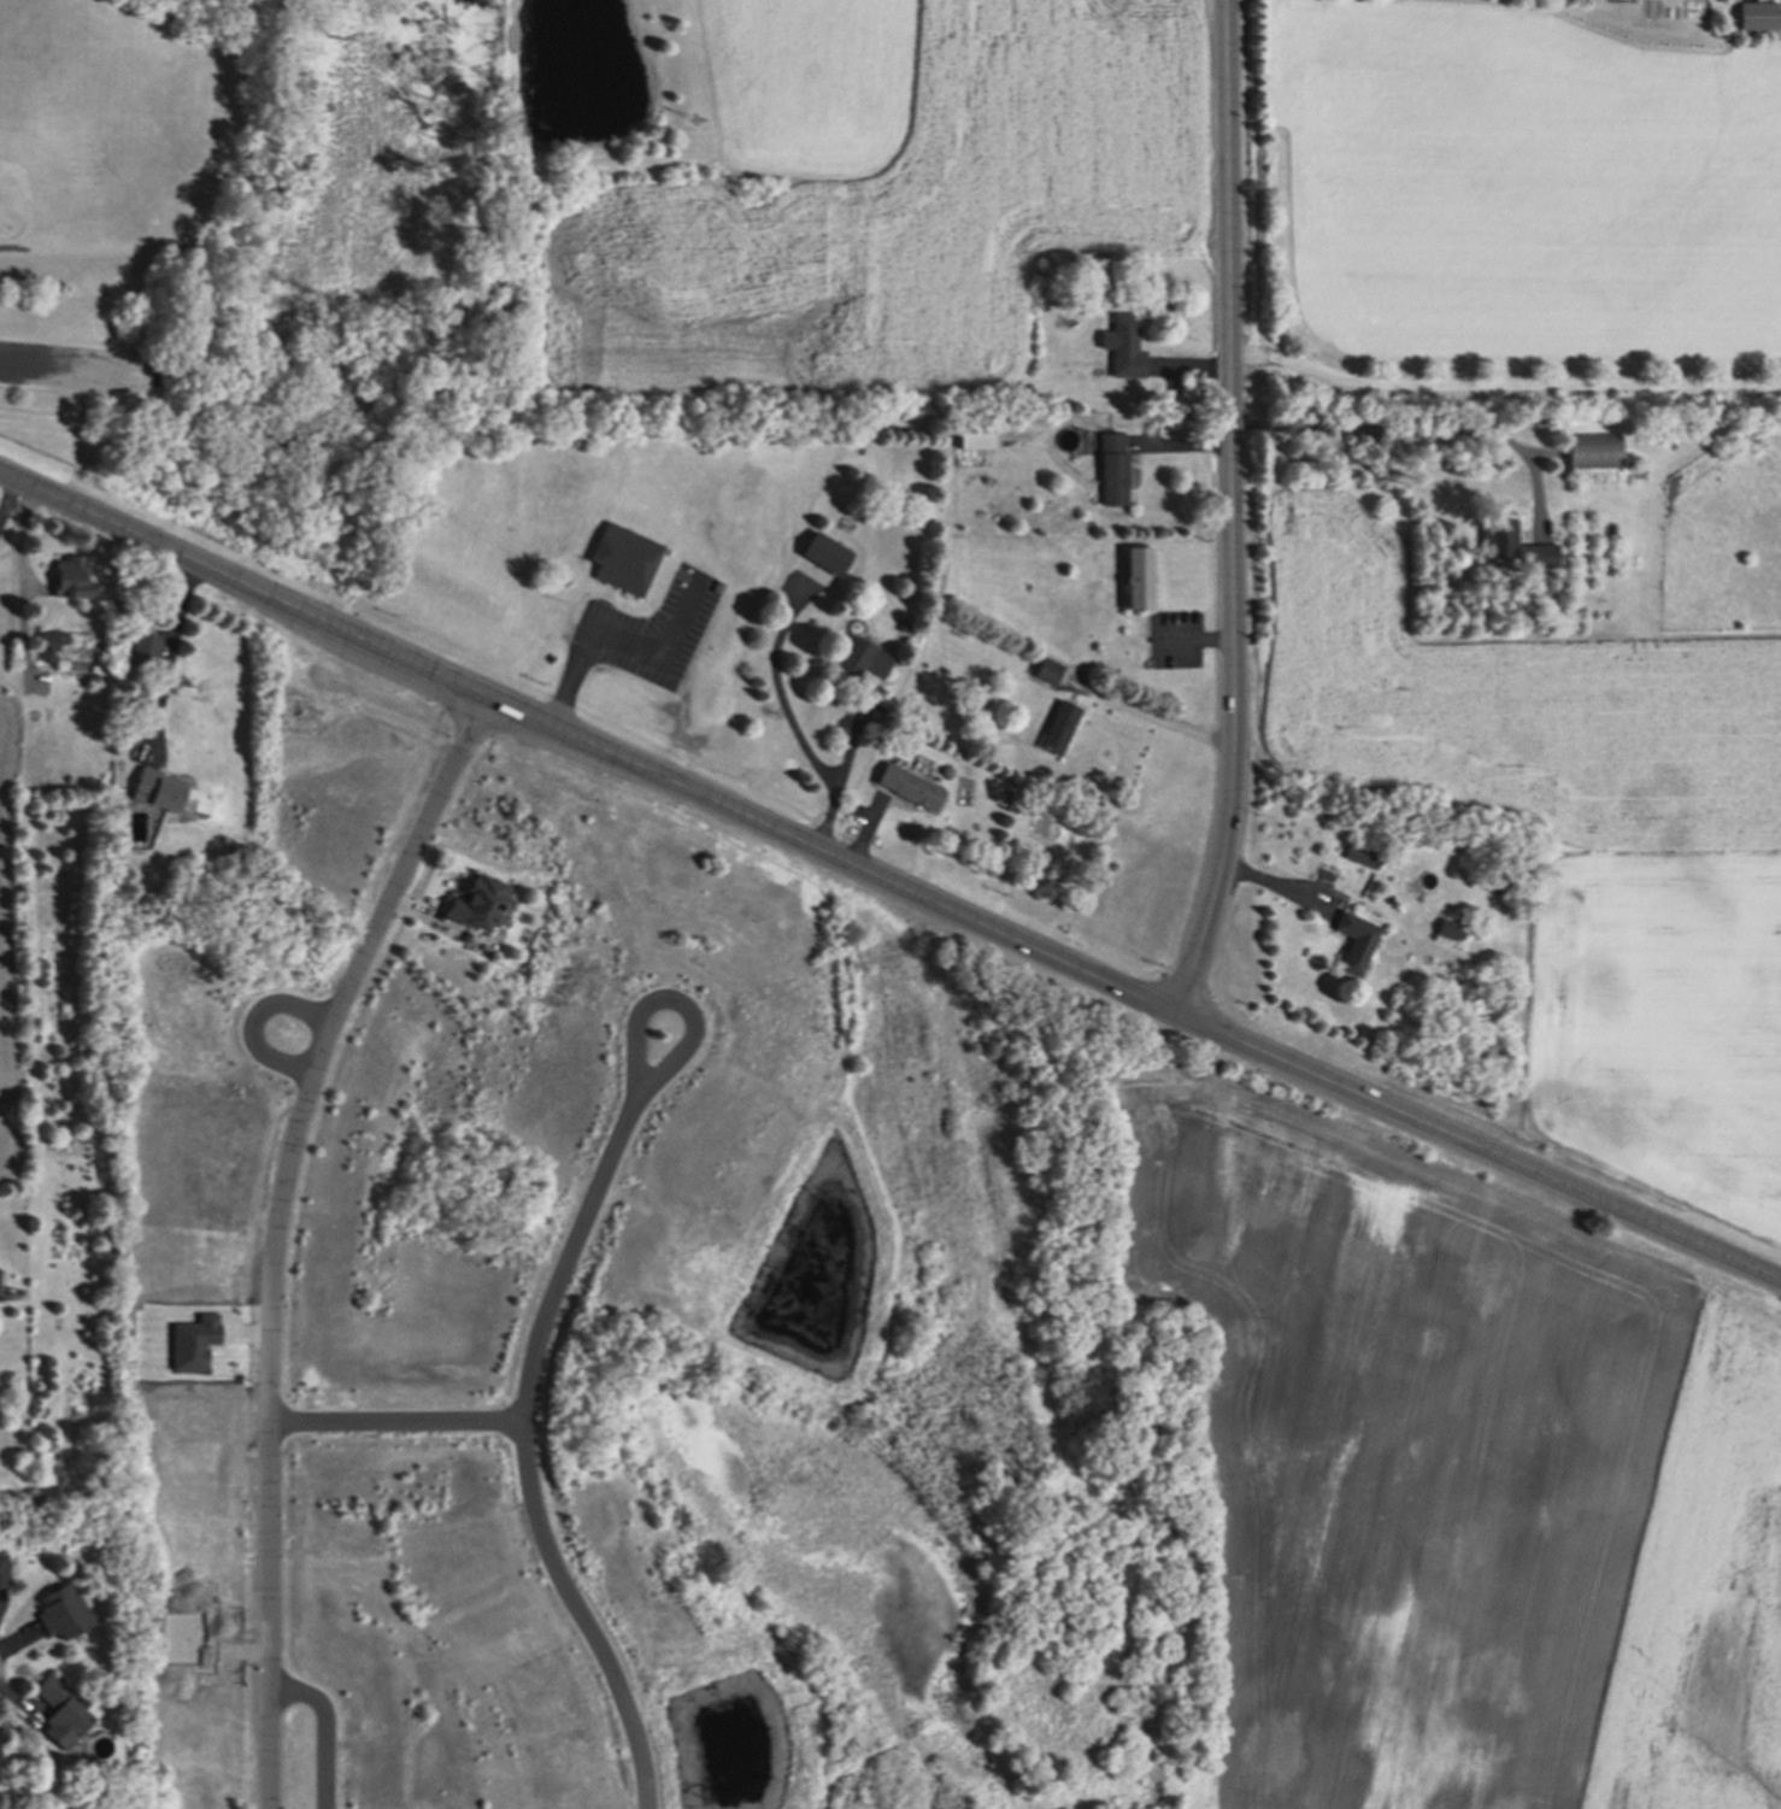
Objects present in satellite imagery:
building: (1756, 13)
building: (1779, 14)
park: (47, 182)
park: (108, 205)
building: (1121, 345)
road: (63, 363)
parking lot: (70, 364)
road: (1501, 386)
road: (1413, 430)
building: (972, 431)
building: (1734, 442)
building: (1591, 452)
building: (1107, 466)
road: (1230, 509)
building: (1510, 544)
building: (824, 552)
building: (619, 556)
building: (70, 576)
building: (1133, 577)
road: (22, 586)
building: (901, 615)
building: (899, 623)
parking lot: (653, 633)
road: (1197, 640)
road: (621, 641)
building: (46, 645)
building: (142, 650)
road: (170, 658)
building: (859, 658)
building: (1046, 670)
building: (89, 679)
road: (1156, 718)
road: (792, 721)
building: (1057, 727)
road: (852, 738)
road: (589, 742)
building: (909, 786)
building: (153, 788)
building: (1360, 853)
building: (476, 905)
building: (1448, 928)
building: (1352, 939)
building: (1462, 980)
road: (674, 1002)
road: (257, 1022)
road: (1481, 1144)
road: (272, 1231)
road: (565, 1256)
building: (195, 1343)
road: (394, 1425)
building: (4, 1569)
building: (64, 1614)
road: (580, 1616)
building: (58, 1711)
road: (324, 1729)

